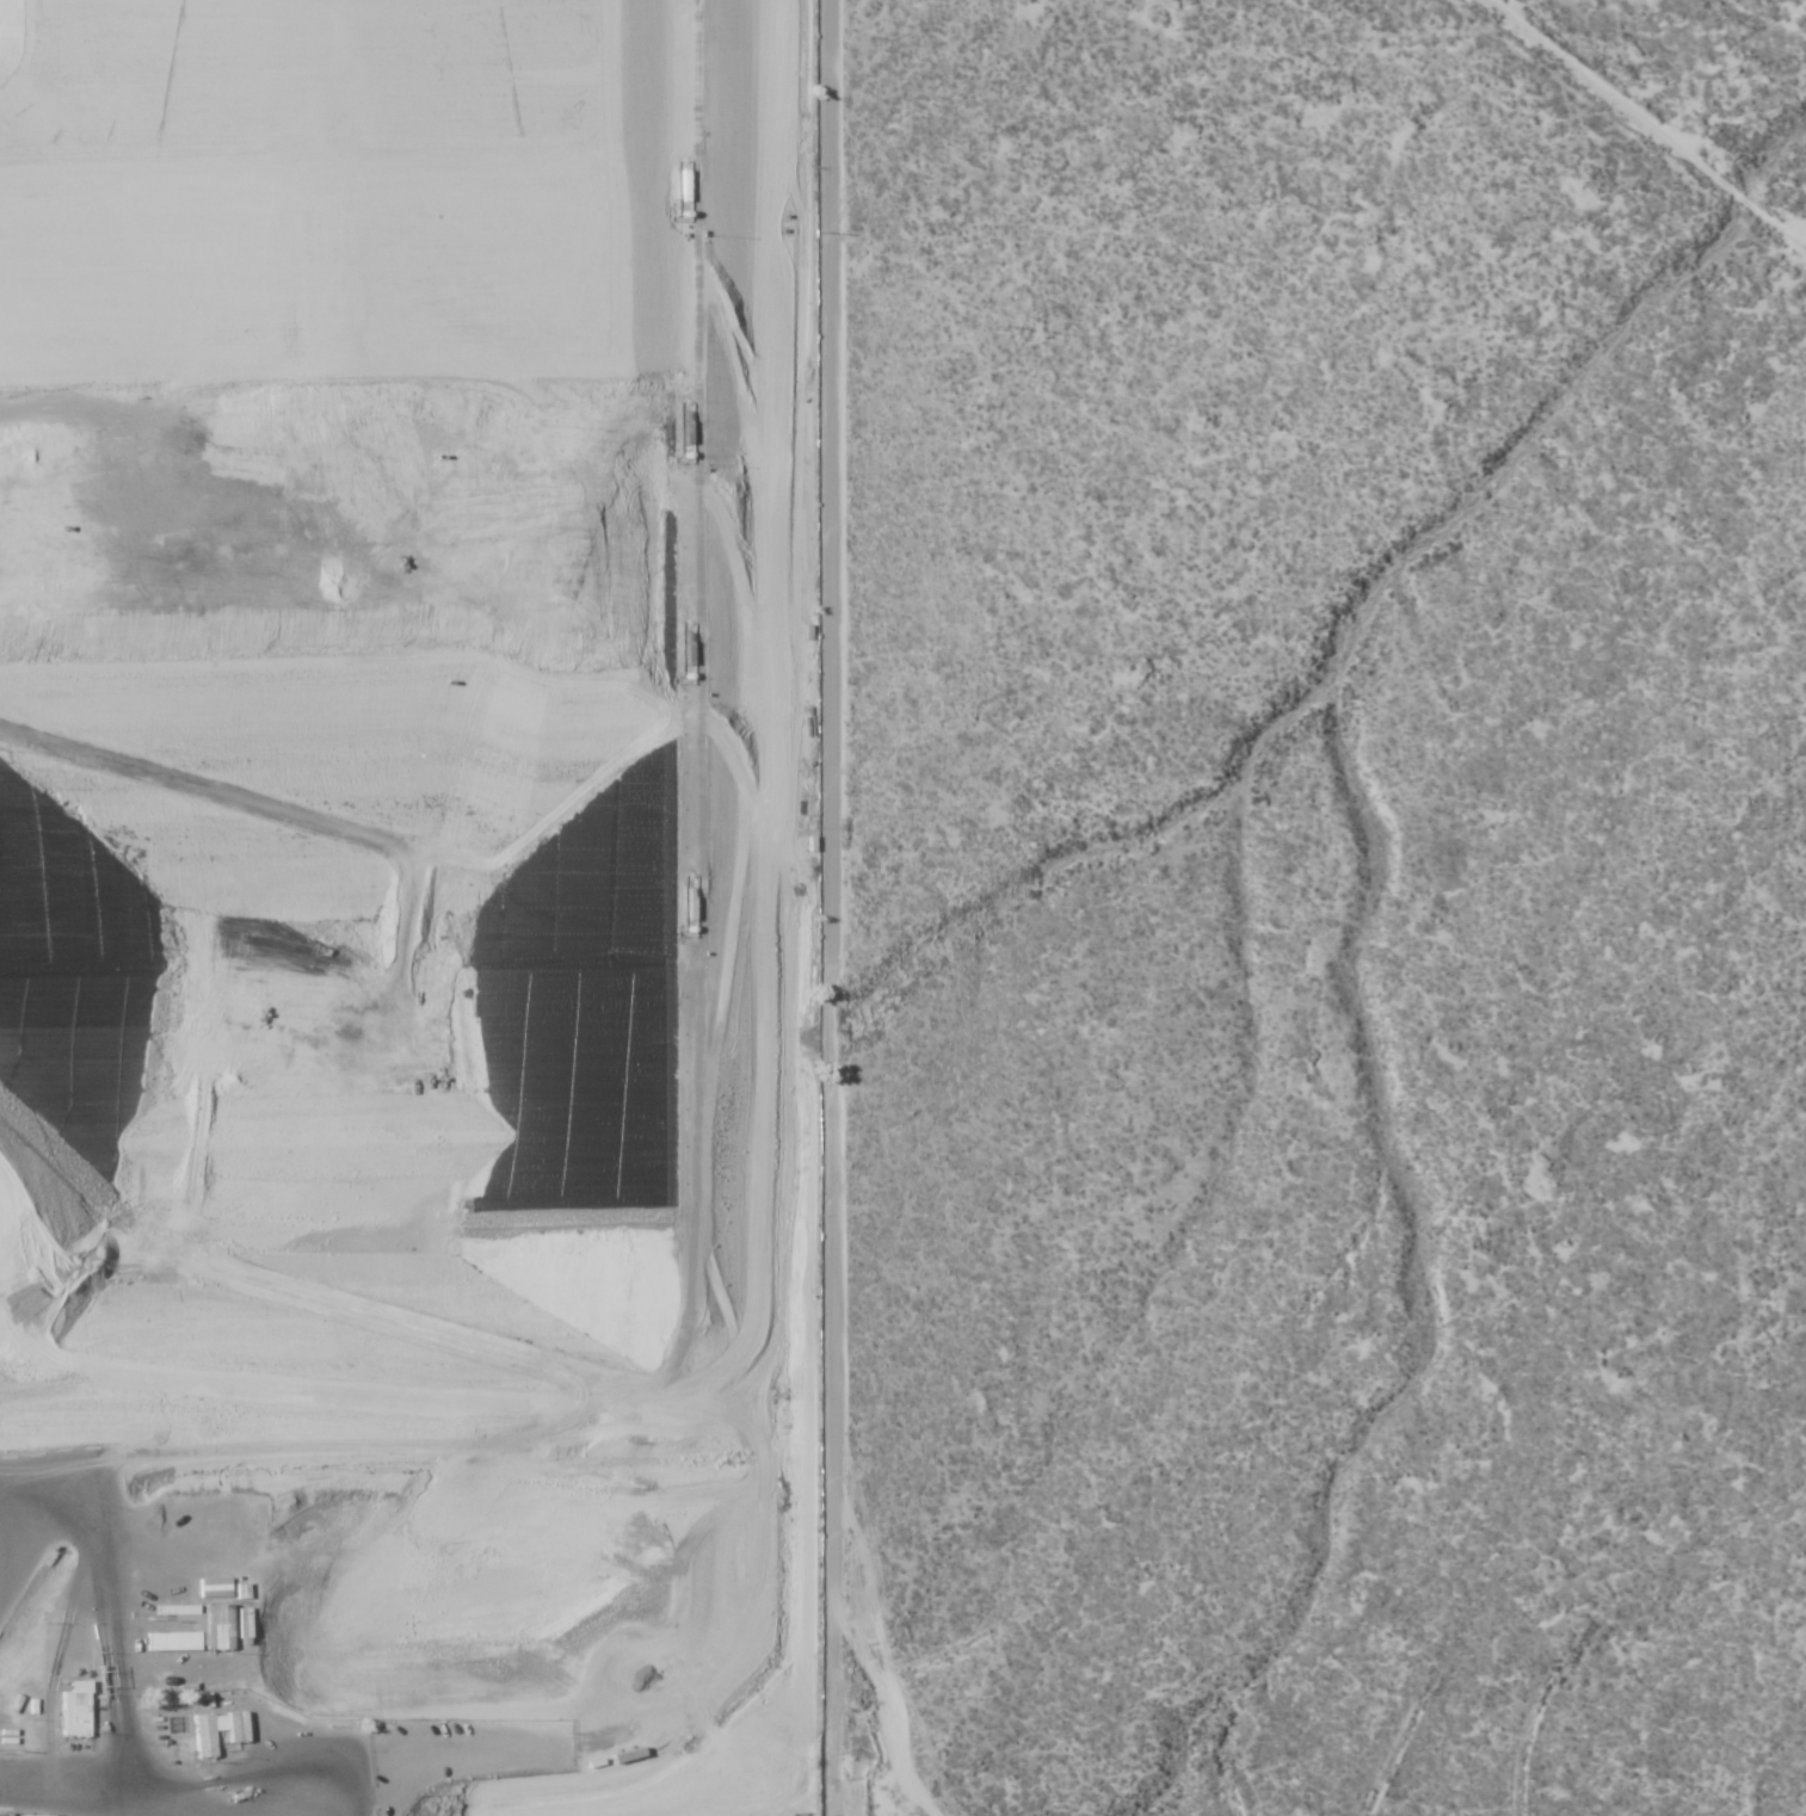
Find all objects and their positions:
landfill: (403, 908)
building: (68, 1711)
building: (212, 1731)

